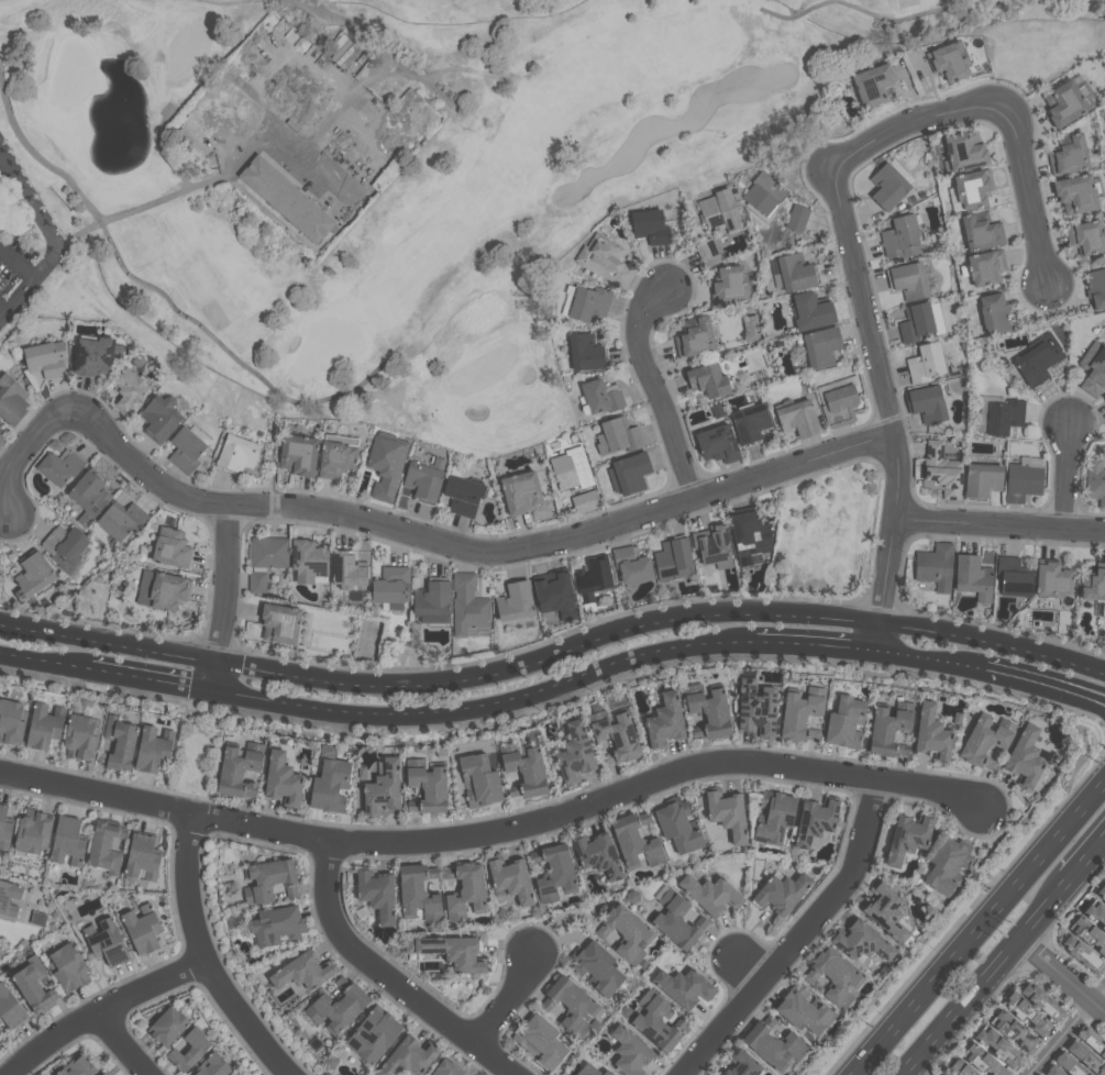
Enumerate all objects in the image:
building: (949, 60)
road: (281, 66)
building: (873, 85)
building: (1067, 101)
road: (279, 131)
building: (963, 151)
road: (3, 154)
building: (1068, 154)
road: (37, 156)
road: (3, 160)
park: (387, 175)
building: (886, 186)
building: (972, 188)
building: (1074, 193)
building: (287, 198)
building: (720, 211)
building: (797, 215)
building: (649, 226)
road: (844, 229)
building: (980, 231)
building: (1085, 236)
building: (899, 237)
road: (58, 244)
building: (709, 252)
road: (19, 261)
building: (604, 261)
building: (985, 267)
building: (791, 273)
building: (908, 280)
building: (728, 286)
building: (1095, 288)
building: (587, 302)
road: (4, 309)
building: (810, 311)
building: (993, 313)
building: (915, 322)
building: (751, 326)
building: (693, 337)
building: (820, 346)
building: (584, 353)
building: (91, 356)
building: (44, 357)
building: (1037, 358)
building: (925, 363)
building: (1093, 369)
building: (705, 381)
road: (653, 385)
building: (128, 390)
building: (600, 397)
building: (1104, 398)
building: (11, 399)
building: (837, 400)
building: (925, 403)
building: (1003, 417)
building: (158, 418)
building: (797, 418)
building: (0, 420)
building: (749, 423)
building: (616, 436)
building: (1, 437)
building: (342, 437)
building: (716, 444)
building: (186, 446)
road: (25, 450)
building: (235, 454)
building: (297, 455)
building: (385, 455)
building: (335, 458)
building: (58, 467)
road: (1067, 468)
building: (940, 472)
building: (628, 474)
building: (1023, 478)
building: (423, 479)
building: (981, 479)
building: (1094, 481)
building: (462, 492)
building: (519, 492)
building: (87, 495)
building: (586, 500)
building: (121, 520)
road: (998, 523)
building: (750, 532)
park: (825, 536)
building: (709, 546)
building: (169, 547)
road: (473, 547)
building: (66, 548)
building: (264, 561)
building: (307, 561)
building: (672, 562)
building: (630, 566)
building: (933, 566)
building: (346, 570)
building: (970, 574)
building: (32, 575)
building: (1012, 577)
building: (593, 579)
building: (1051, 580)
building: (1094, 585)
building: (390, 587)
building: (161, 590)
building: (554, 594)
road: (230, 598)
building: (513, 601)
building: (430, 603)
building: (466, 605)
building: (279, 623)
road: (816, 644)
road: (554, 655)
road: (45, 661)
road: (930, 661)
road: (153, 680)
road: (1045, 687)
road: (489, 707)
building: (706, 709)
building: (754, 709)
building: (798, 716)
building: (663, 721)
building: (10, 722)
building: (843, 722)
building: (42, 727)
building: (888, 728)
building: (615, 734)
building: (930, 734)
building: (80, 736)
building: (984, 741)
building: (117, 744)
building: (151, 750)
building: (574, 754)
building: (1023, 757)
building: (239, 769)
building: (521, 769)
building: (361, 772)
building: (281, 779)
building: (477, 779)
building: (330, 783)
building: (426, 786)
building: (383, 787)
building: (726, 813)
building: (773, 817)
building: (813, 821)
building: (677, 825)
building: (4, 829)
road: (497, 832)
building: (31, 833)
building: (906, 839)
building: (634, 841)
building: (65, 842)
building: (103, 847)
building: (596, 856)
building: (140, 857)
road: (1087, 858)
building: (947, 864)
building: (553, 871)
building: (508, 878)
building: (270, 879)
building: (230, 886)
building: (464, 889)
building: (1101, 891)
building: (781, 893)
building: (377, 894)
building: (417, 894)
building: (709, 894)
building: (2, 902)
building: (884, 911)
building: (1094, 911)
building: (37, 919)
building: (232, 920)
building: (673, 920)
building: (275, 926)
road: (977, 928)
building: (141, 929)
building: (626, 933)
building: (1089, 933)
road: (803, 937)
building: (862, 942)
building: (106, 943)
building: (449, 951)
building: (1082, 954)
road: (206, 960)
building: (596, 967)
building: (67, 968)
building: (299, 971)
road: (988, 976)
road: (1061, 976)
road: (390, 977)
building: (833, 978)
building: (32, 986)
building: (683, 988)
road: (510, 1000)
building: (566, 1001)
building: (1041, 1001)
building: (338, 1007)
building: (10, 1009)
road: (102, 1010)
building: (803, 1011)
building: (1036, 1017)
building: (653, 1022)
building: (164, 1026)
road: (1068, 1031)
building: (1014, 1032)
building: (372, 1033)
building: (538, 1041)
road: (125, 1043)
building: (1101, 1043)
building: (996, 1044)
building: (772, 1046)
building: (187, 1049)
building: (628, 1052)
building: (406, 1057)
building: (1092, 1057)
building: (983, 1060)
building: (1067, 1062)
building: (741, 1064)
building: (210, 1065)
building: (76, 1067)
building: (959, 1067)
building: (444, 1068)
building: (586, 1071)
building: (1052, 1071)
building: (100, 1073)
building: (605, 1073)
building: (230, 1074)
building: (232, 1074)
building: (942, 1074)
building: (943, 1074)

